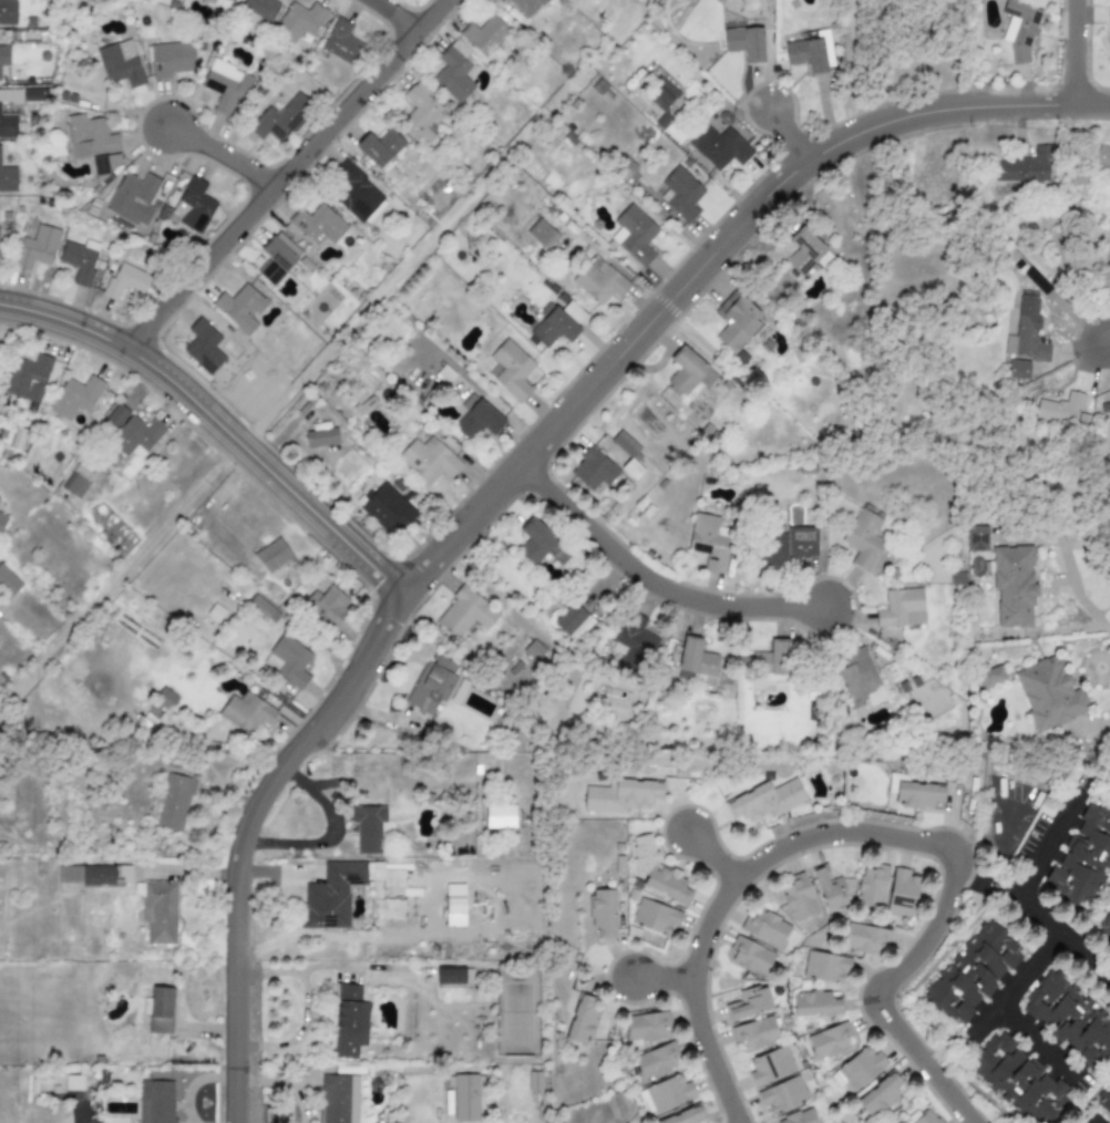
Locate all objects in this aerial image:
building: (227, 0)
building: (208, 1)
building: (525, 7)
building: (259, 8)
building: (7, 12)
road: (393, 16)
building: (298, 21)
building: (1020, 28)
building: (484, 34)
building: (1109, 37)
building: (744, 41)
building: (340, 42)
road: (1082, 50)
building: (811, 52)
building: (3, 55)
building: (171, 60)
building: (120, 63)
building: (453, 72)
building: (224, 86)
building: (10, 96)
building: (665, 100)
building: (420, 113)
building: (279, 119)
building: (8, 126)
road: (792, 132)
building: (89, 137)
road: (232, 145)
building: (380, 147)
building: (719, 147)
building: (0, 148)
building: (1101, 156)
building: (103, 166)
building: (1024, 167)
road: (287, 174)
building: (8, 178)
building: (356, 194)
building: (680, 194)
building: (133, 199)
building: (193, 206)
building: (318, 225)
building: (542, 234)
building: (634, 234)
building: (37, 248)
building: (805, 253)
building: (276, 258)
building: (80, 259)
building: (1102, 278)
building: (599, 280)
building: (125, 281)
building: (240, 308)
building: (736, 320)
building: (557, 324)
building: (1027, 332)
road: (1108, 342)
building: (203, 347)
building: (1018, 369)
building: (511, 370)
building: (689, 372)
building: (28, 380)
building: (75, 398)
building: (1060, 409)
building: (116, 416)
building: (475, 420)
road: (218, 421)
building: (321, 435)
building: (135, 436)
building: (624, 444)
building: (429, 460)
road: (513, 468)
building: (593, 470)
building: (76, 480)
building: (387, 508)
building: (2, 519)
building: (863, 538)
building: (534, 542)
building: (709, 542)
building: (802, 542)
building: (273, 555)
road: (1066, 558)
road: (659, 573)
building: (8, 581)
building: (1014, 586)
building: (327, 605)
building: (260, 607)
building: (901, 608)
building: (465, 614)
building: (573, 622)
building: (634, 642)
building: (533, 651)
building: (691, 657)
building: (770, 663)
building: (289, 664)
building: (857, 676)
building: (990, 678)
building: (508, 679)
building: (431, 686)
building: (1049, 694)
building: (246, 713)
road: (1090, 730)
building: (917, 795)
building: (620, 796)
building: (764, 801)
building: (174, 803)
building: (500, 817)
building: (368, 827)
road: (883, 830)
road: (328, 831)
road: (1048, 844)
road: (712, 853)
building: (1085, 858)
building: (657, 870)
building: (70, 875)
building: (105, 875)
building: (872, 886)
building: (902, 887)
building: (830, 888)
building: (331, 895)
building: (796, 897)
building: (1109, 908)
building: (158, 911)
building: (602, 913)
building: (665, 920)
road: (1042, 921)
building: (864, 938)
building: (750, 956)
building: (825, 967)
building: (970, 972)
road: (667, 973)
building: (449, 975)
road: (1010, 995)
building: (750, 1001)
building: (813, 1003)
building: (160, 1010)
building: (1070, 1018)
building: (582, 1019)
building: (349, 1022)
building: (643, 1028)
building: (754, 1033)
road: (1047, 1040)
building: (828, 1041)
building: (655, 1061)
building: (769, 1065)
building: (857, 1069)
building: (1018, 1081)
building: (668, 1092)
building: (782, 1095)
building: (877, 1095)
building: (465, 1098)
building: (339, 1099)
building: (156, 1101)
building: (1104, 1101)
road: (1098, 1114)
building: (681, 1115)
building: (796, 1117)
building: (922, 1117)
building: (900, 1122)

